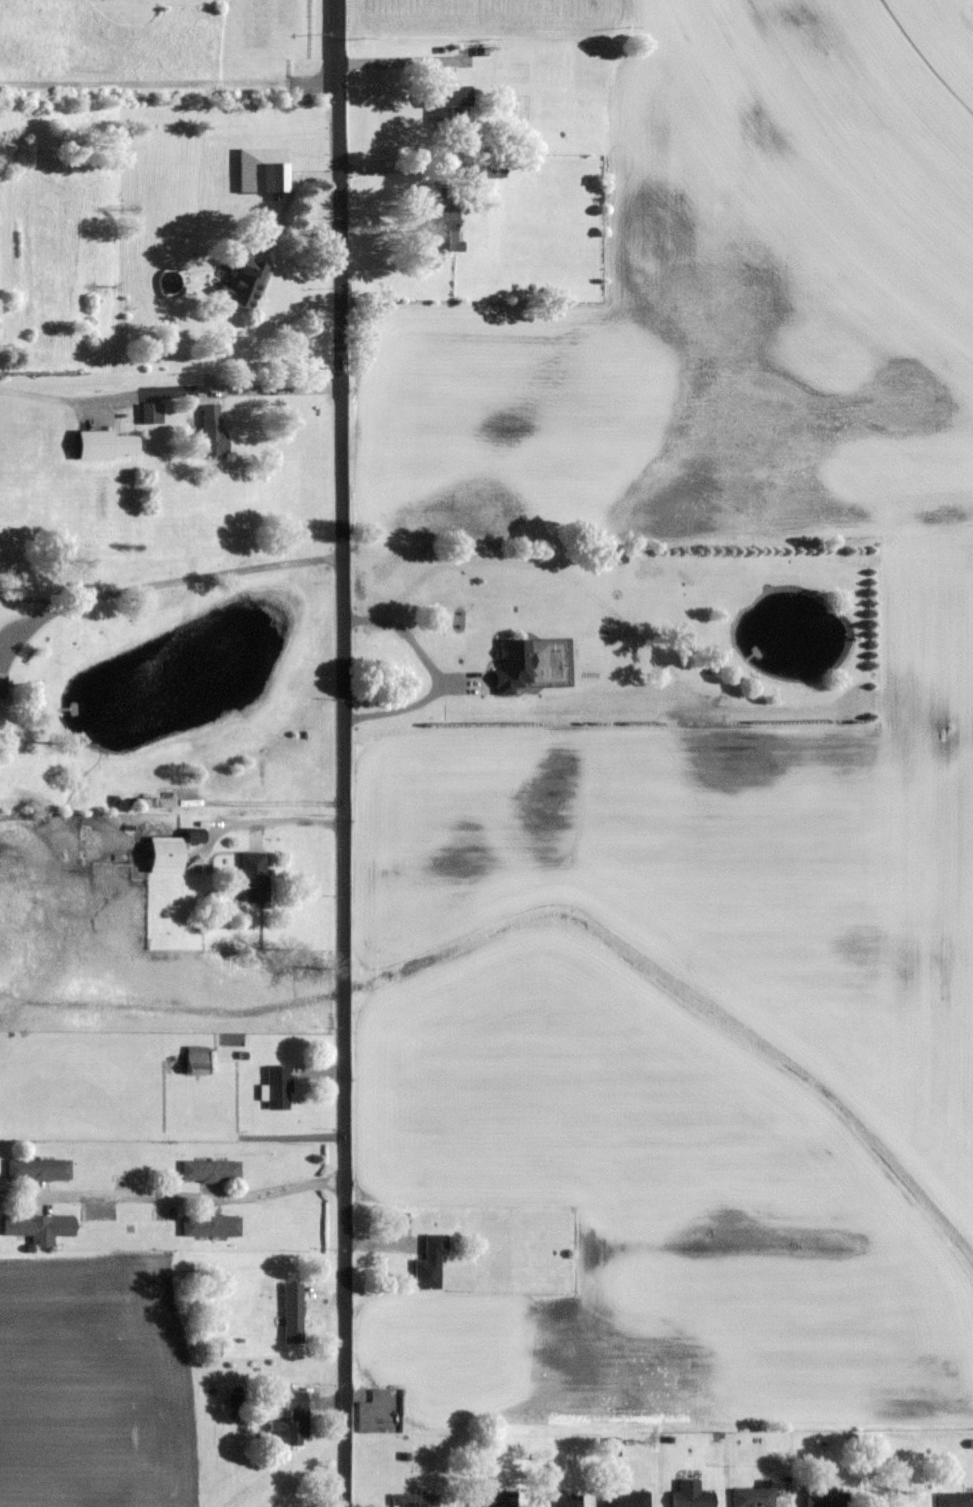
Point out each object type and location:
road: (396, 62)
building: (450, 104)
building: (490, 166)
building: (265, 169)
building: (447, 230)
building: (244, 280)
road: (171, 397)
building: (152, 412)
building: (213, 431)
building: (106, 444)
building: (610, 556)
road: (162, 584)
building: (515, 666)
road: (442, 672)
road: (348, 753)
crop: (697, 773)
road: (271, 802)
building: (154, 803)
building: (166, 855)
building: (254, 877)
building: (198, 1060)
building: (279, 1088)
building: (38, 1170)
building: (211, 1171)
road: (10, 1196)
road: (183, 1196)
building: (210, 1226)
building: (41, 1227)
building: (431, 1263)
building: (292, 1313)
building: (213, 1351)
building: (291, 1423)
building: (613, 1447)
building: (692, 1495)
building: (824, 1496)
building: (490, 1497)
building: (753, 1497)
building: (626, 1499)
building: (955, 1499)
building: (414, 1500)
building: (559, 1501)

